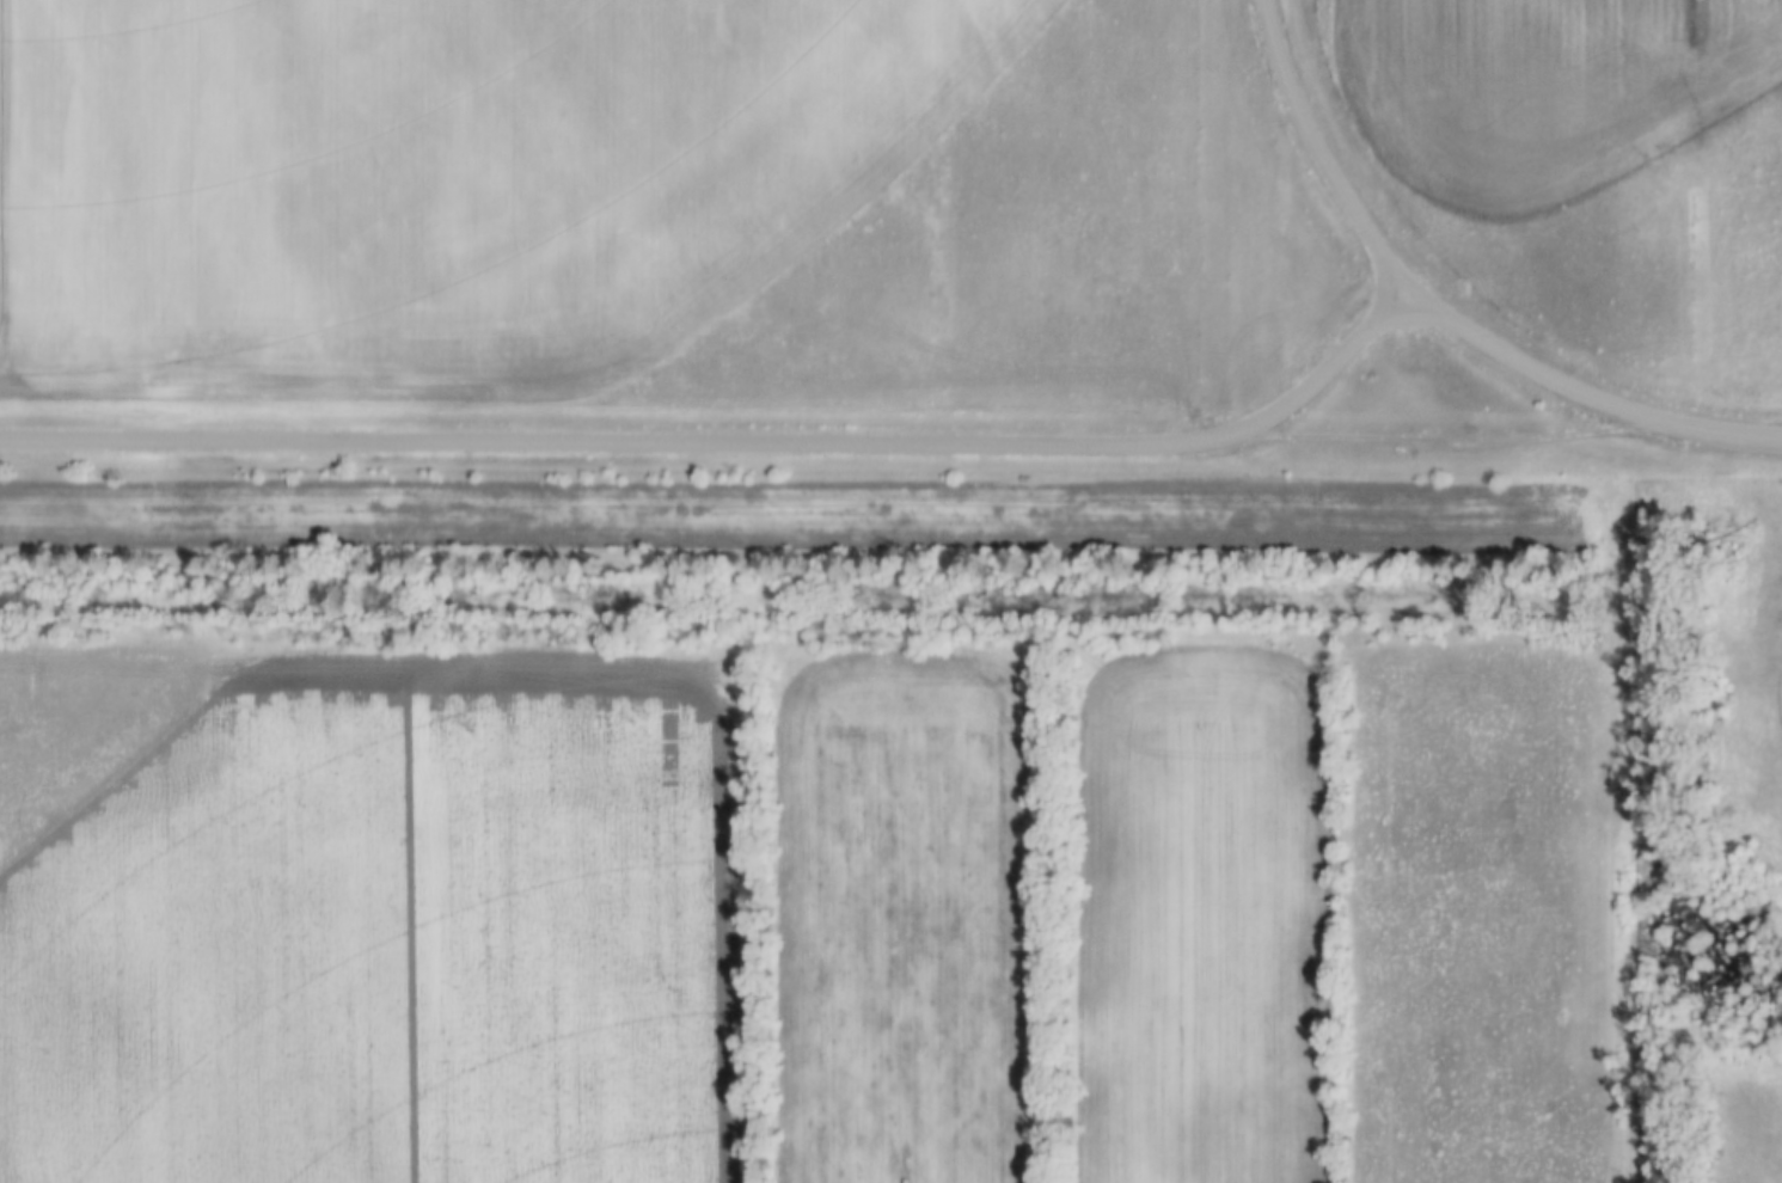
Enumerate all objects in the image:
road: (0, 16)
road: (1313, 154)
road: (1582, 398)
road: (1452, 437)
road: (733, 441)
road: (663, 656)

